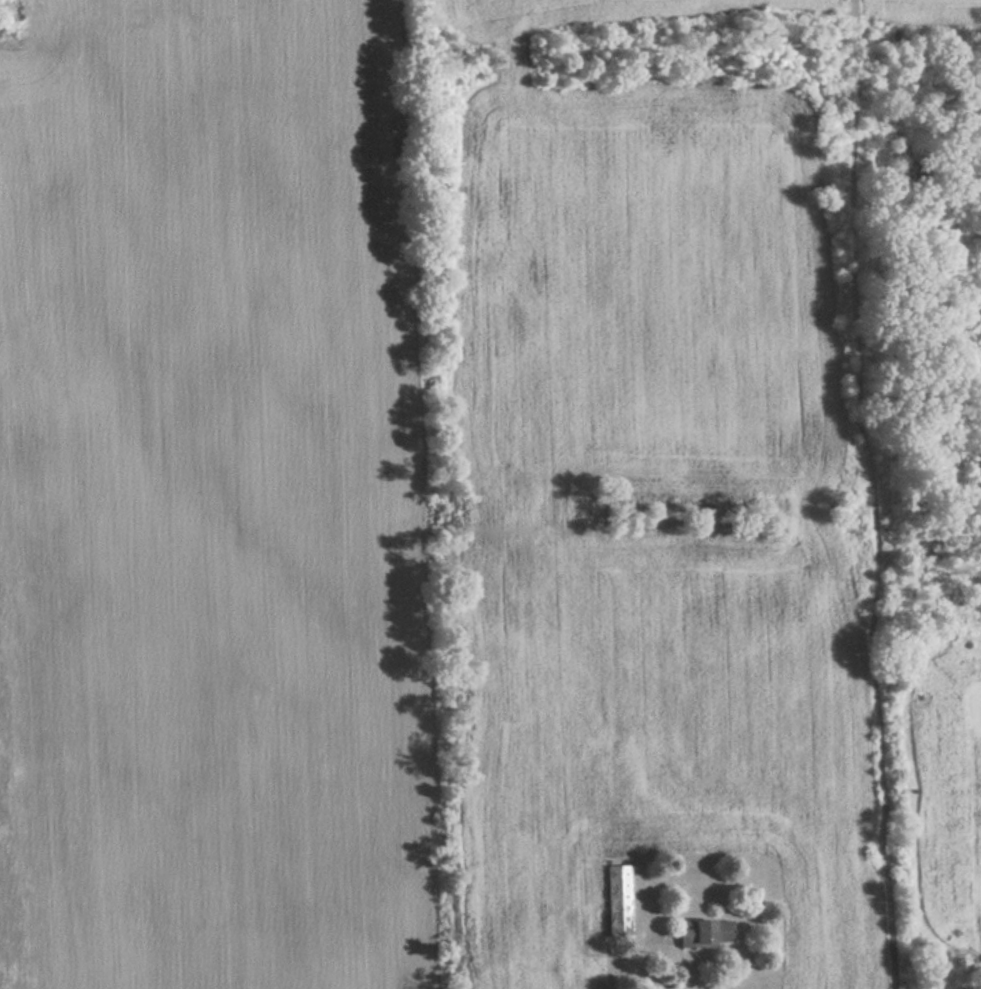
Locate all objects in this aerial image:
road: (874, 494)
building: (618, 900)
building: (705, 932)
road: (638, 962)

